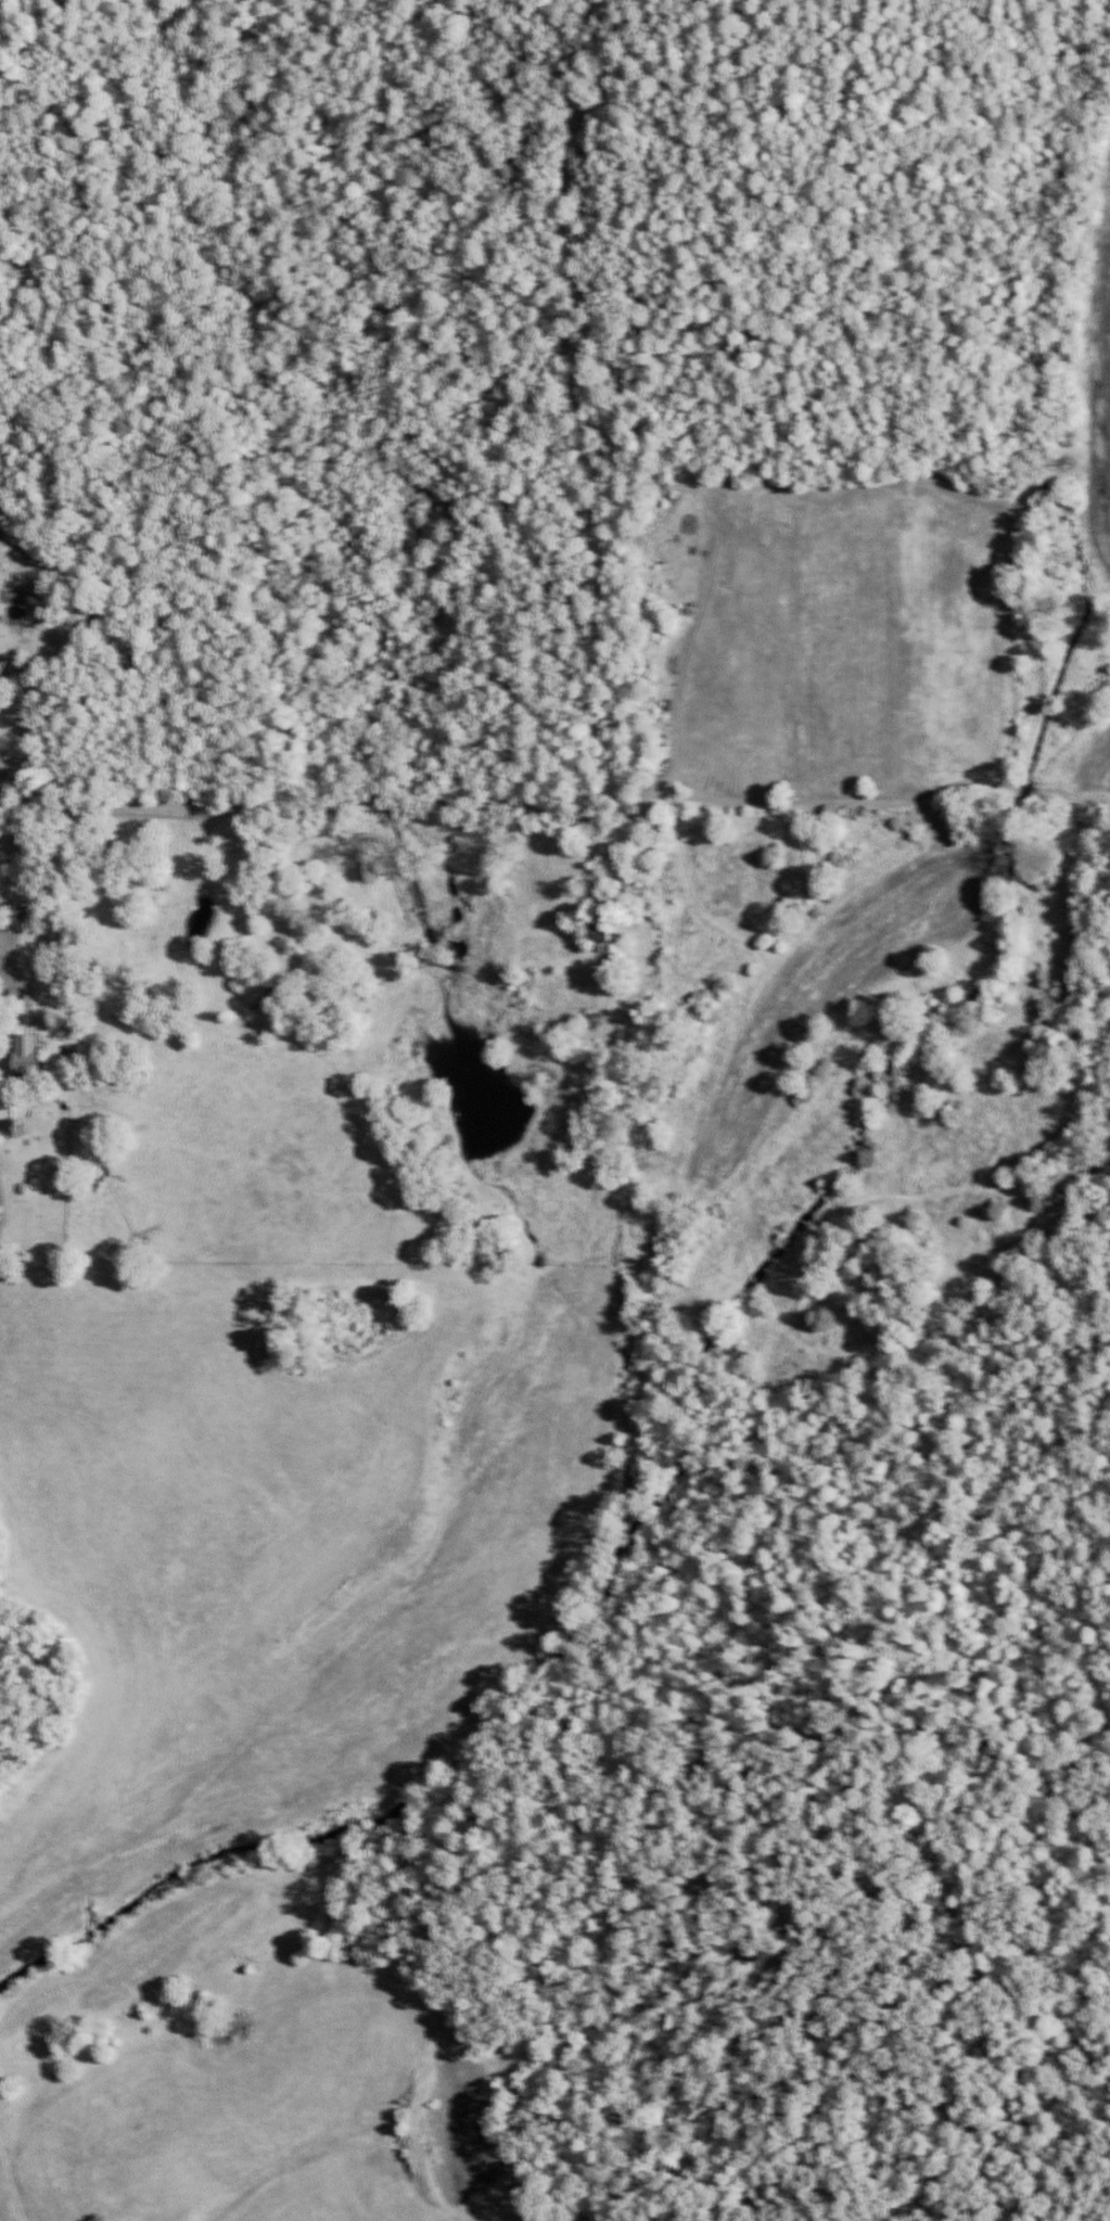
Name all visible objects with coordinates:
road: (303, 854)
building: (598, 943)
road: (787, 968)
building: (253, 1020)
building: (27, 1063)
road: (487, 1405)

